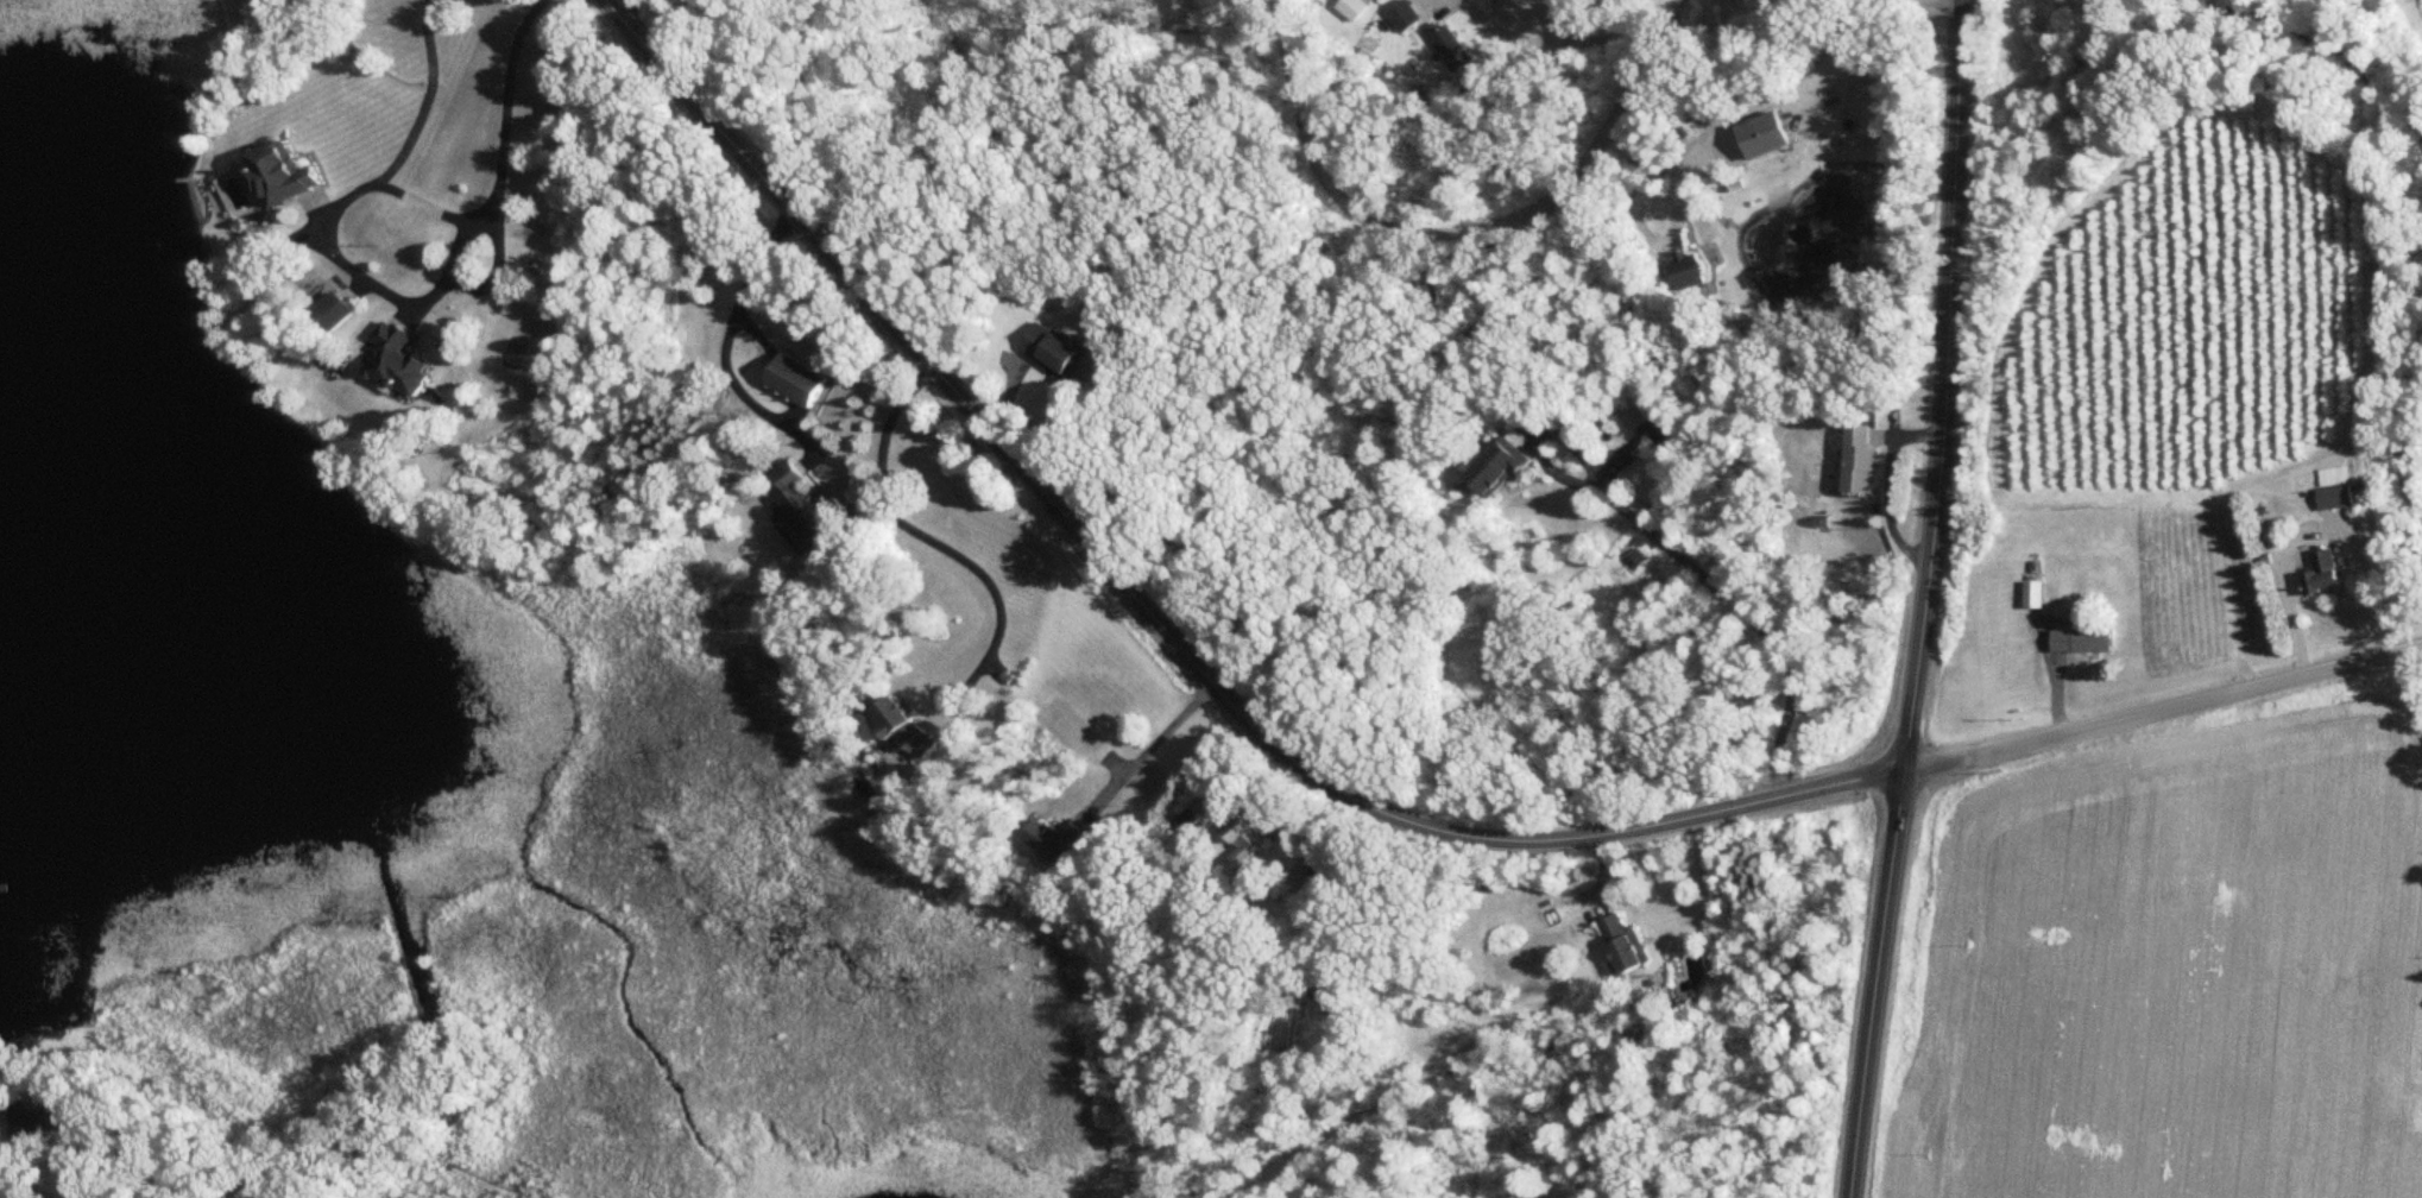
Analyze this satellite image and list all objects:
building: (1351, 10)
road: (632, 12)
road: (1677, 12)
building: (1404, 17)
road: (1556, 42)
road: (1641, 76)
road: (1790, 100)
building: (1766, 135)
building: (282, 174)
road: (390, 187)
road: (318, 204)
road: (458, 219)
road: (1388, 227)
road: (310, 233)
road: (461, 237)
road: (1651, 237)
building: (1691, 270)
road: (358, 288)
road: (410, 304)
road: (410, 313)
building: (338, 314)
road: (726, 345)
building: (1053, 349)
building: (402, 362)
building: (796, 382)
building: (1658, 433)
building: (1861, 460)
building: (1499, 469)
road: (1890, 485)
building: (2338, 488)
building: (802, 511)
road: (2317, 528)
road: (938, 544)
road: (1682, 559)
building: (2326, 574)
building: (2035, 595)
road: (1925, 600)
road: (1156, 622)
building: (2082, 643)
road: (2163, 710)
building: (910, 731)
road: (1152, 749)
building: (1058, 843)
building: (1244, 847)
building: (1625, 946)
building: (1331, 989)
building: (34, 1118)
road: (10, 1159)

